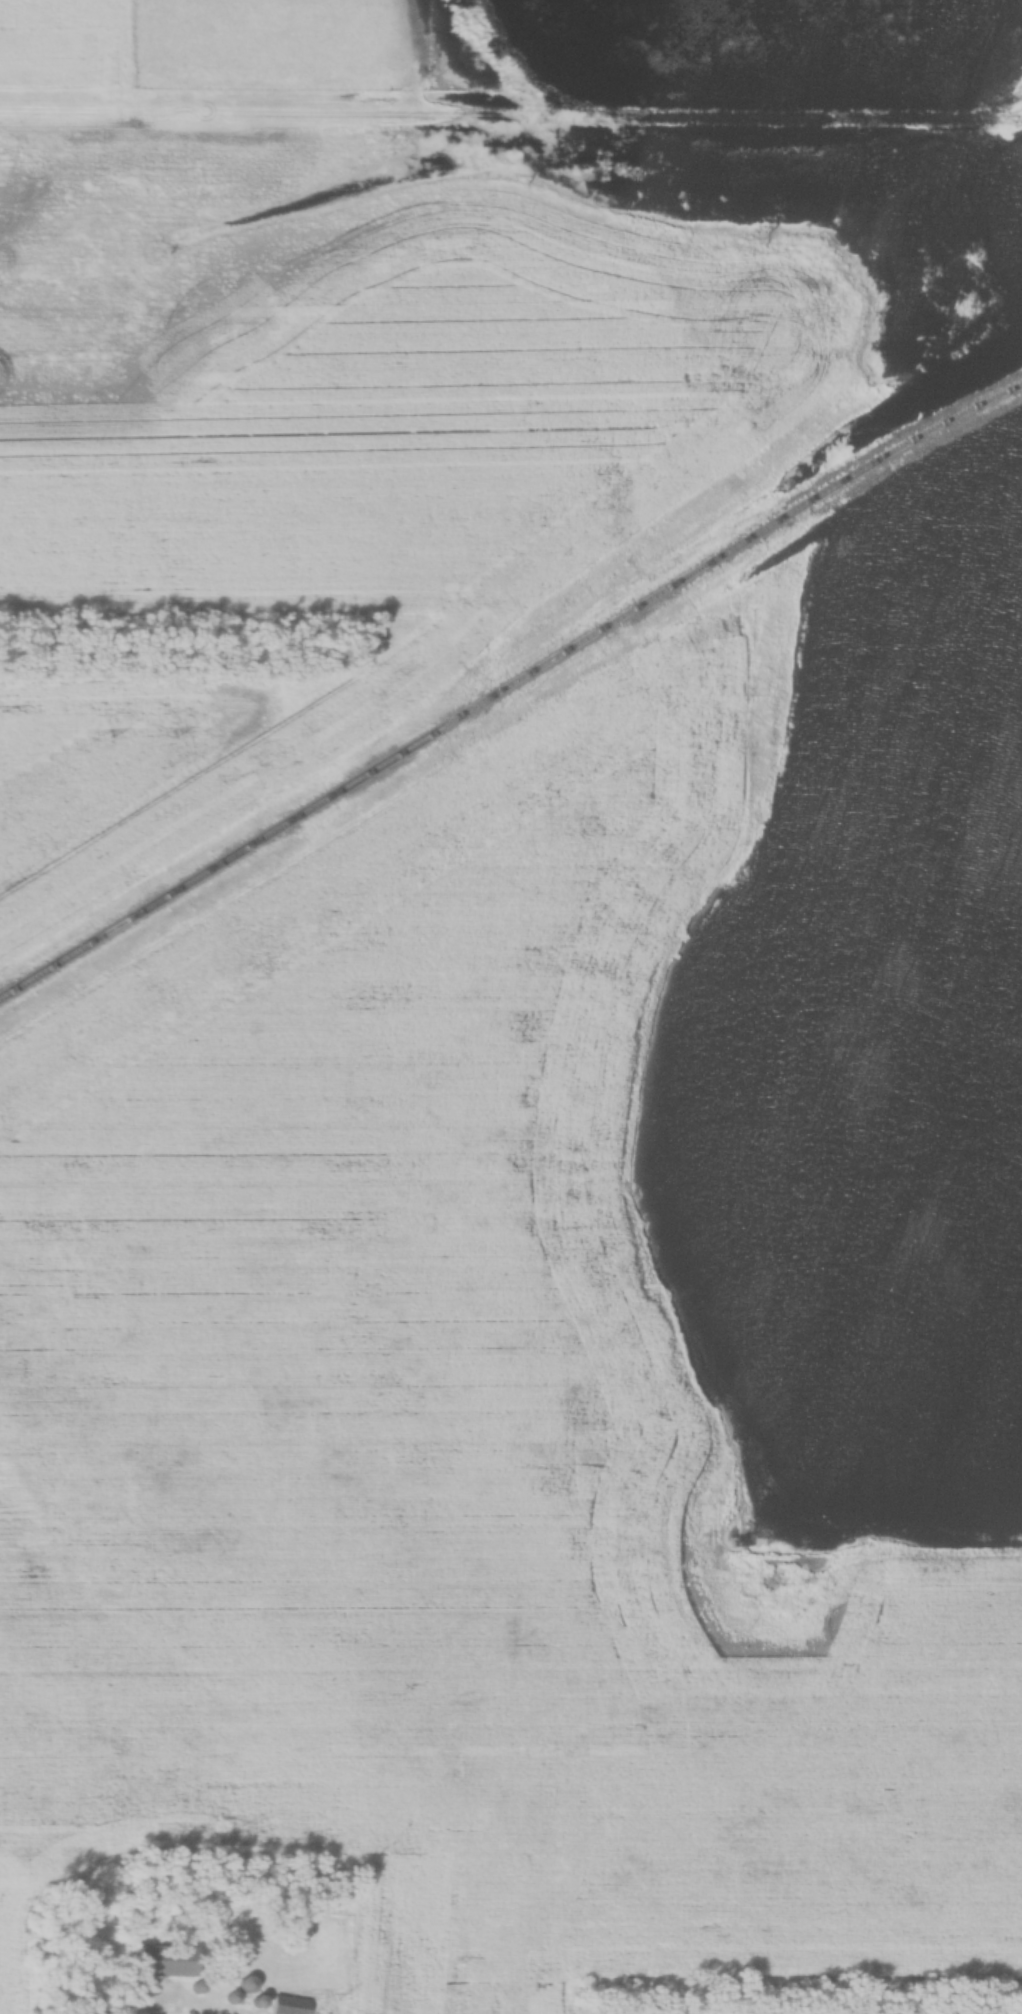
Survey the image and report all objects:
road: (510, 116)
railway: (507, 688)
building: (165, 1961)
building: (290, 2006)

